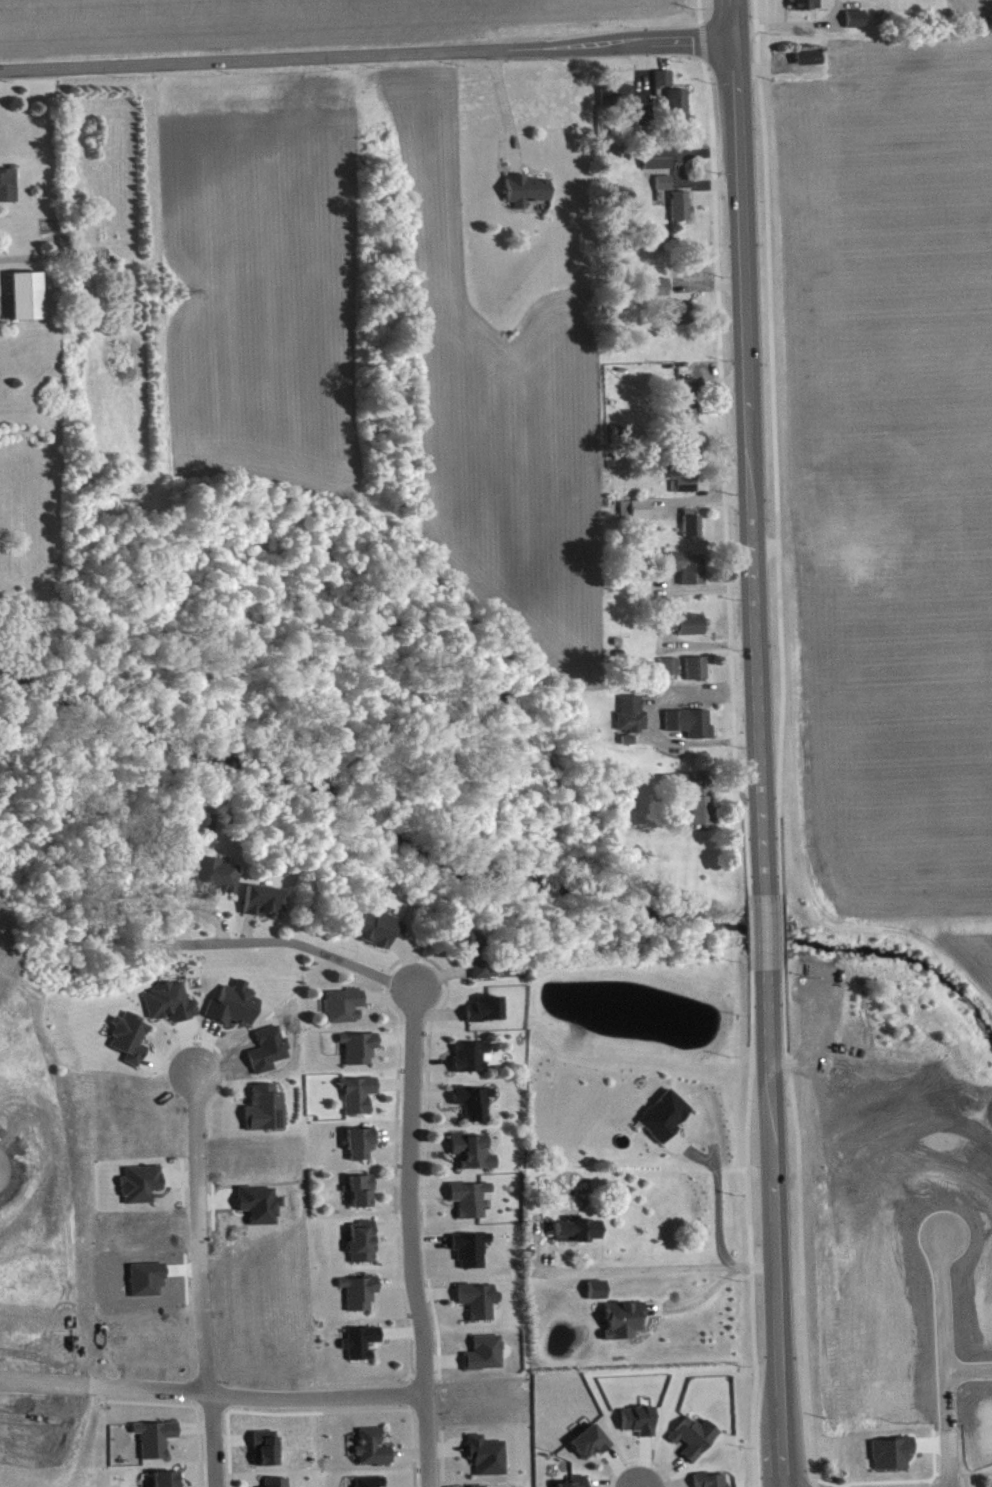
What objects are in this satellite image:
building: (807, 8)
road: (698, 10)
building: (862, 25)
road: (798, 32)
road: (700, 40)
road: (366, 54)
building: (809, 63)
building: (665, 84)
building: (618, 101)
building: (679, 109)
building: (644, 119)
building: (659, 165)
building: (665, 189)
building: (9, 192)
building: (527, 196)
building: (682, 212)
power tower: (177, 291)
building: (662, 293)
building: (28, 302)
building: (684, 318)
building: (689, 407)
road: (774, 445)
road: (747, 446)
road: (722, 477)
building: (687, 486)
building: (636, 517)
building: (693, 530)
building: (688, 573)
building: (693, 631)
building: (672, 673)
building: (697, 674)
building: (633, 721)
building: (691, 729)
building: (629, 746)
building: (700, 809)
building: (203, 837)
building: (217, 884)
building: (265, 907)
road: (780, 929)
road: (748, 930)
road: (765, 930)
building: (381, 935)
road: (303, 945)
building: (475, 959)
building: (172, 1009)
building: (235, 1011)
building: (346, 1012)
building: (486, 1016)
building: (131, 1045)
building: (361, 1054)
building: (473, 1063)
building: (359, 1101)
building: (475, 1108)
building: (267, 1115)
building: (666, 1122)
building: (361, 1150)
building: (473, 1158)
building: (142, 1190)
building: (363, 1198)
road: (716, 1198)
building: (471, 1205)
road: (800, 1226)
road: (748, 1227)
road: (774, 1227)
road: (197, 1233)
building: (577, 1237)
road: (408, 1238)
building: (363, 1248)
building: (471, 1256)
road: (654, 1268)
road: (709, 1289)
building: (360, 1299)
building: (480, 1306)
building: (625, 1327)
road: (943, 1333)
building: (362, 1348)
building: (486, 1360)
road: (968, 1369)
road: (212, 1393)
road: (404, 1408)
building: (640, 1427)
road: (210, 1440)
building: (695, 1443)
building: (156, 1445)
building: (591, 1449)
building: (374, 1454)
building: (266, 1455)
road: (948, 1458)
building: (488, 1462)
building: (168, 1482)
building: (712, 1483)
building: (579, 1484)
building: (277, 1485)
building: (372, 1485)

